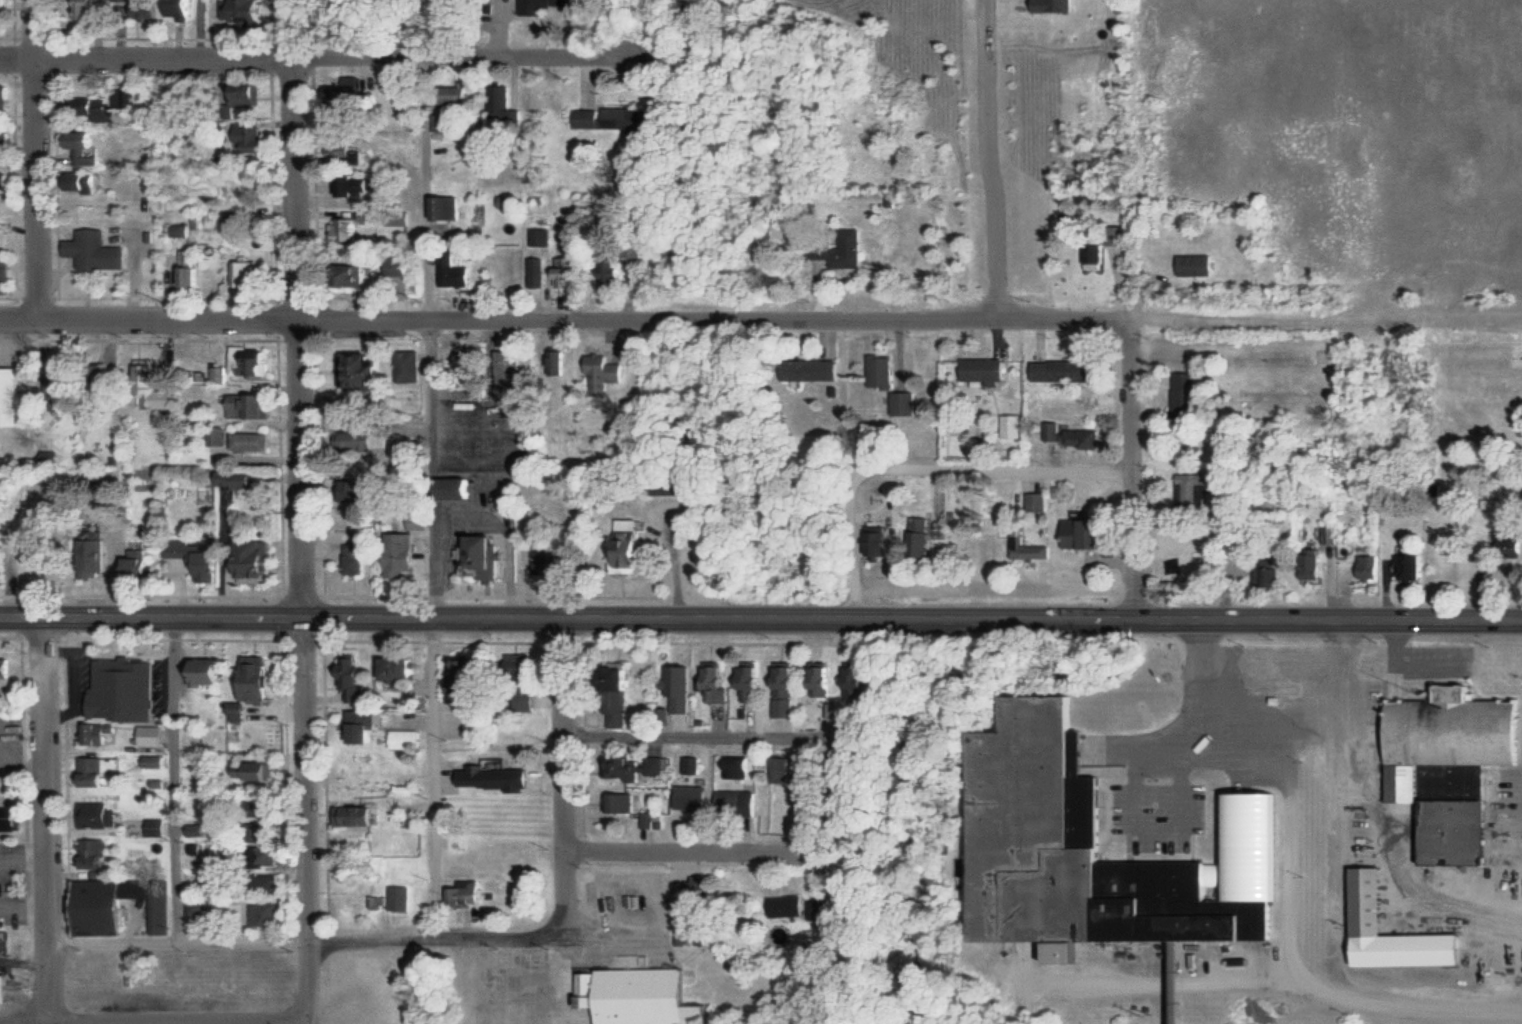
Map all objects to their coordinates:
building: (549, 7)
building: (181, 8)
building: (95, 9)
building: (149, 9)
building: (241, 10)
building: (3, 14)
road: (315, 53)
building: (454, 95)
building: (247, 96)
building: (7, 98)
building: (503, 100)
building: (347, 102)
building: (96, 110)
building: (613, 117)
building: (444, 121)
building: (257, 139)
building: (87, 140)
building: (5, 142)
building: (349, 150)
road: (36, 157)
road: (989, 158)
building: (94, 160)
building: (87, 184)
road: (432, 185)
building: (7, 186)
building: (361, 186)
building: (448, 208)
building: (401, 217)
building: (1, 230)
building: (349, 230)
building: (1099, 247)
building: (99, 251)
building: (842, 251)
building: (407, 266)
building: (1192, 266)
building: (190, 269)
building: (453, 271)
building: (540, 272)
building: (619, 272)
building: (569, 273)
building: (7, 274)
building: (249, 274)
building: (353, 275)
road: (564, 315)
road: (1275, 319)
road: (300, 332)
building: (559, 363)
building: (255, 364)
building: (412, 366)
building: (513, 369)
building: (364, 370)
building: (816, 370)
building: (608, 371)
building: (885, 371)
building: (1056, 371)
building: (978, 373)
building: (152, 385)
building: (1181, 391)
building: (12, 397)
building: (906, 403)
building: (253, 406)
building: (1009, 427)
building: (1049, 432)
building: (367, 439)
building: (1078, 439)
building: (252, 441)
road: (431, 464)
road: (1133, 466)
road: (926, 470)
building: (236, 484)
building: (465, 488)
building: (357, 490)
building: (1188, 490)
building: (52, 495)
building: (424, 523)
building: (1074, 534)
building: (1505, 543)
building: (634, 548)
building: (1023, 548)
building: (406, 556)
building: (485, 557)
building: (179, 558)
building: (5, 560)
building: (264, 562)
building: (359, 562)
building: (142, 564)
building: (212, 565)
building: (1307, 565)
building: (1365, 568)
building: (1405, 568)
building: (1263, 574)
road: (761, 612)
building: (522, 666)
building: (9, 670)
building: (404, 670)
building: (215, 673)
building: (356, 675)
building: (751, 678)
building: (685, 679)
building: (262, 681)
building: (821, 681)
building: (851, 681)
building: (480, 682)
building: (719, 682)
building: (786, 686)
building: (128, 690)
building: (622, 698)
building: (482, 725)
building: (367, 726)
building: (1450, 726)
road: (762, 733)
building: (102, 734)
building: (155, 735)
building: (410, 739)
building: (199, 744)
building: (157, 761)
building: (695, 765)
building: (641, 767)
building: (742, 768)
building: (780, 769)
building: (95, 771)
building: (262, 771)
road: (562, 775)
road: (434, 776)
road: (176, 777)
building: (498, 777)
road: (44, 778)
building: (413, 787)
building: (696, 797)
building: (735, 801)
building: (627, 804)
building: (1442, 807)
building: (101, 815)
building: (361, 816)
road: (309, 818)
building: (655, 820)
building: (158, 827)
building: (200, 829)
building: (267, 831)
building: (1092, 837)
road: (689, 848)
building: (95, 854)
building: (268, 856)
building: (210, 880)
building: (269, 885)
building: (469, 891)
building: (368, 897)
building: (404, 898)
building: (1361, 900)
building: (119, 906)
building: (782, 908)
building: (266, 914)
road: (305, 939)
road: (48, 978)
building: (6, 991)
building: (633, 997)
building: (1168, 1007)
road: (156, 1011)

